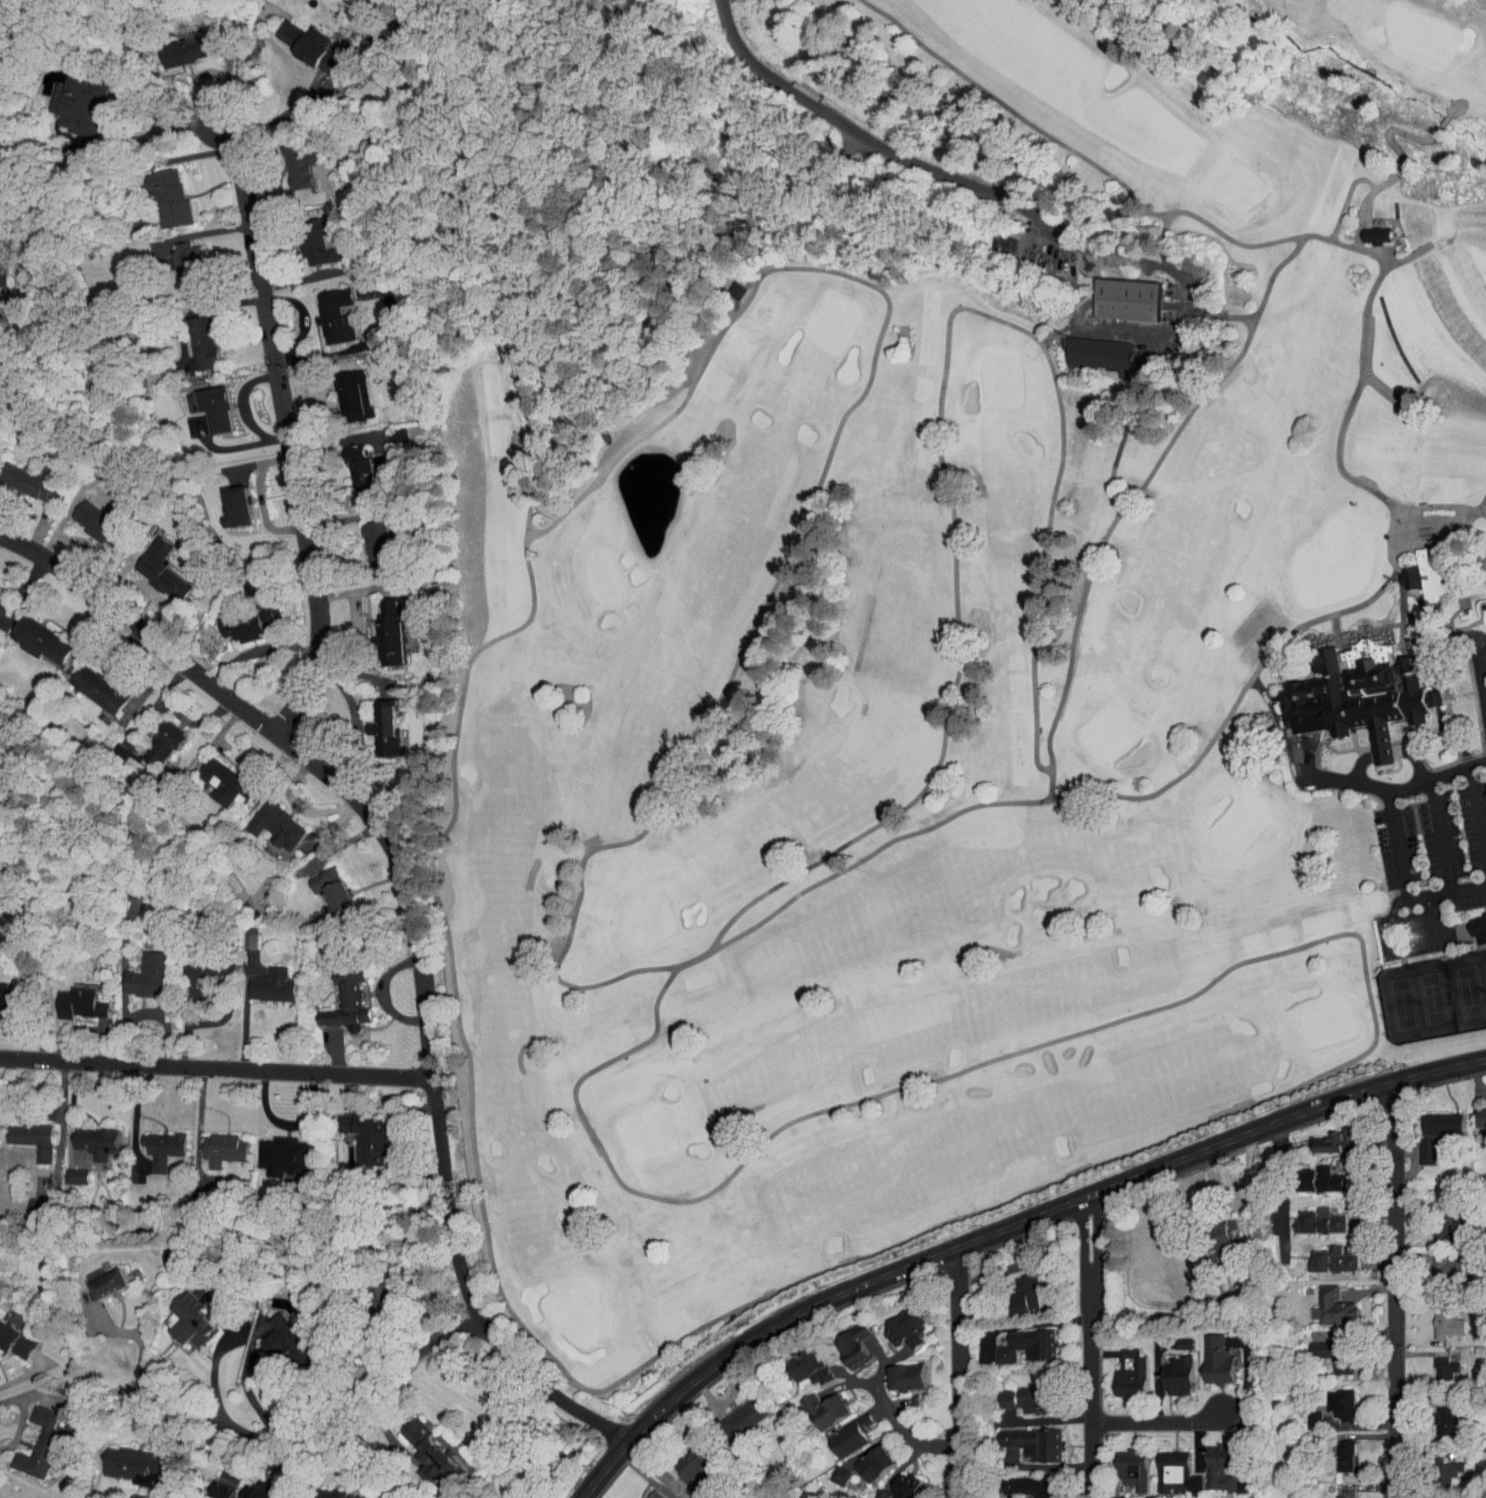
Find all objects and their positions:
building: (276, 26)
building: (171, 44)
building: (305, 44)
building: (71, 98)
road: (114, 108)
road: (275, 118)
road: (158, 122)
road: (130, 139)
road: (890, 152)
building: (287, 158)
road: (1377, 173)
road: (1119, 189)
building: (157, 193)
road: (1351, 211)
building: (1364, 229)
building: (304, 236)
building: (991, 237)
building: (180, 262)
building: (725, 284)
building: (1115, 293)
building: (323, 309)
road: (1350, 329)
building: (191, 337)
building: (1085, 347)
road: (1134, 371)
building: (337, 390)
building: (203, 403)
road: (927, 417)
building: (385, 430)
road: (287, 436)
building: (348, 467)
road: (1348, 477)
building: (25, 478)
road: (1473, 492)
road: (1117, 493)
building: (224, 502)
building: (89, 515)
building: (365, 542)
building: (150, 565)
building: (1428, 571)
building: (239, 610)
building: (379, 625)
building: (28, 635)
road: (260, 650)
road: (1477, 664)
building: (87, 684)
building: (1364, 700)
park: (923, 703)
building: (149, 738)
road: (1388, 753)
building: (214, 778)
road: (1378, 789)
building: (265, 820)
parking lot: (1434, 848)
road: (566, 869)
road: (1403, 885)
building: (321, 887)
building: (1473, 922)
road: (420, 924)
building: (239, 932)
building: (193, 960)
building: (135, 970)
building: (260, 983)
building: (335, 993)
park: (1435, 997)
building: (69, 998)
road: (218, 1065)
building: (1475, 1111)
building: (1432, 1119)
building: (22, 1132)
building: (354, 1133)
building: (84, 1137)
building: (1327, 1137)
building: (151, 1143)
building: (211, 1144)
building: (1417, 1146)
building: (270, 1150)
building: (64, 1171)
road: (1283, 1173)
building: (1312, 1174)
road: (1036, 1177)
road: (1242, 1188)
building: (1313, 1213)
building: (1433, 1224)
road: (1004, 1229)
building: (1211, 1229)
building: (1330, 1253)
building: (1436, 1261)
building: (97, 1276)
building: (367, 1288)
road: (1398, 1288)
building: (1322, 1300)
building: (177, 1314)
building: (1436, 1318)
building: (894, 1322)
building: (276, 1335)
building: (10, 1337)
building: (1172, 1337)
building: (842, 1338)
building: (1016, 1339)
road: (1092, 1347)
building: (1322, 1347)
building: (1206, 1354)
road: (141, 1356)
building: (798, 1359)
building: (1434, 1361)
building: (1119, 1367)
building: (1167, 1369)
building: (895, 1370)
road: (962, 1371)
road: (211, 1381)
building: (1018, 1393)
building: (1330, 1397)
road: (248, 1398)
building: (814, 1403)
road: (343, 1406)
building: (732, 1411)
building: (1436, 1414)
road: (20, 1415)
road: (1165, 1423)
road: (905, 1429)
building: (840, 1430)
building: (1023, 1436)
road: (390, 1443)
road: (358, 1447)
building: (1334, 1449)
building: (421, 1454)
building: (864, 1456)
building: (123, 1459)
building: (683, 1461)
building: (1210, 1461)
building: (1121, 1462)
building: (1163, 1464)
building: (1437, 1465)
building: (827, 1469)
building: (1019, 1481)
building: (888, 1486)
building: (249, 1488)
building: (320, 1490)
building: (643, 1492)
building: (1334, 1492)
building: (1431, 1497)

